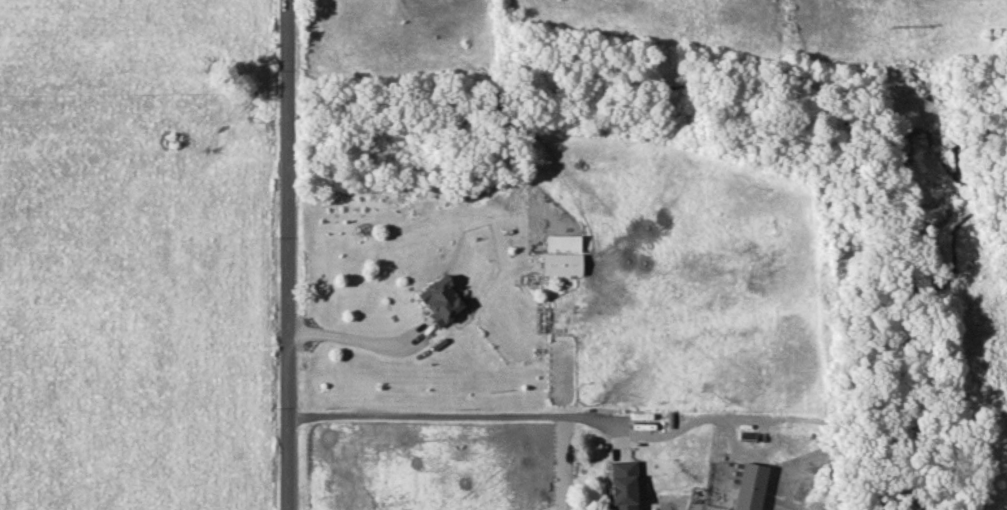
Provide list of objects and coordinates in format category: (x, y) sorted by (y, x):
building: (560, 254)
road: (285, 255)
building: (439, 298)
road: (340, 333)
road: (429, 414)
road: (665, 432)
building: (621, 484)
building: (748, 486)

